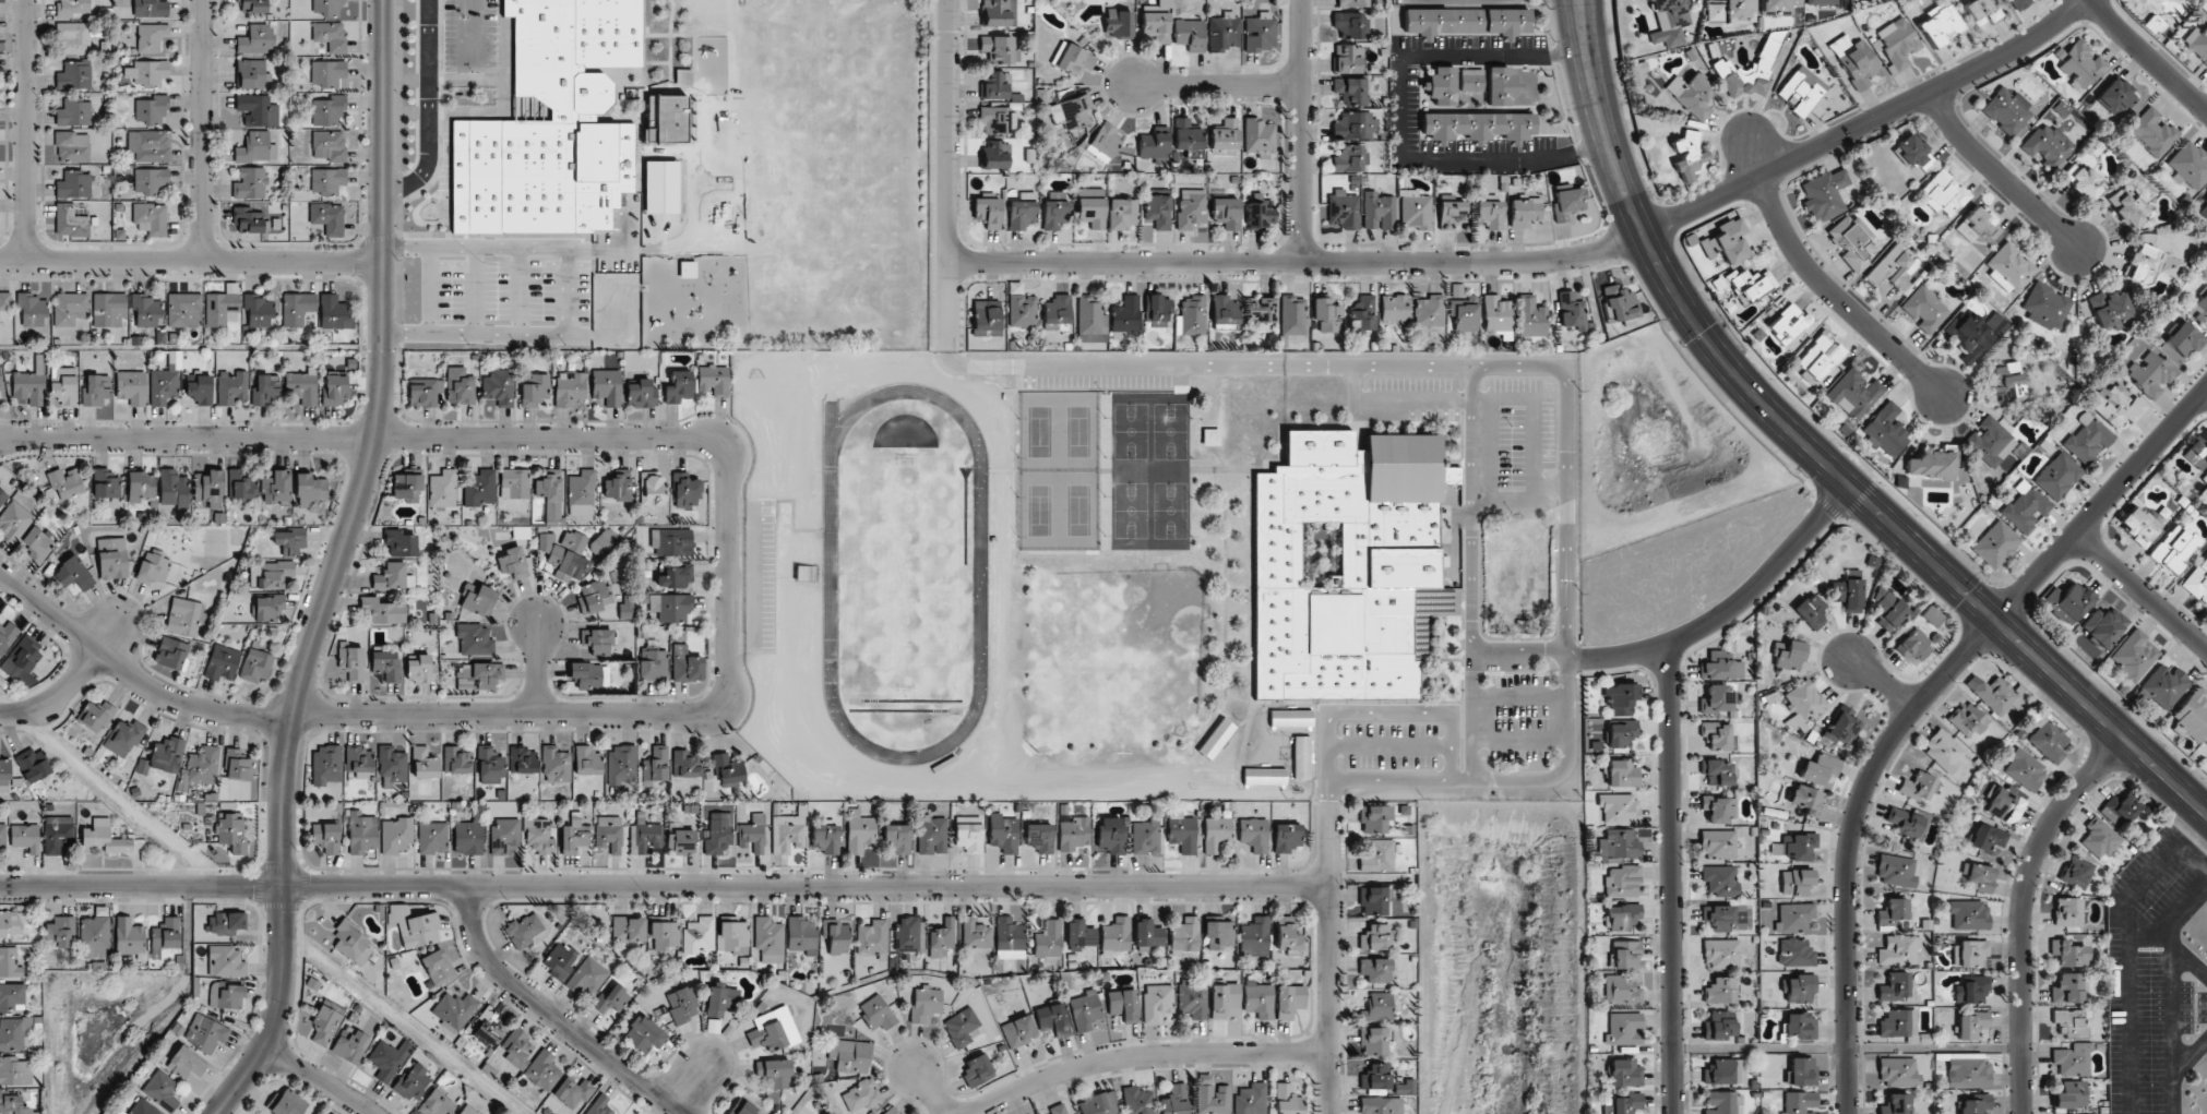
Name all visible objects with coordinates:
building: (2176, 0)
building: (1822, 2)
building: (1352, 3)
building: (2019, 3)
building: (253, 5)
building: (1781, 5)
building: (73, 7)
building: (326, 7)
building: (151, 8)
building: (1740, 9)
building: (1979, 11)
building: (998, 12)
building: (1716, 12)
building: (1468, 21)
building: (1669, 22)
building: (1119, 23)
building: (1941, 23)
building: (1350, 24)
building: (1156, 26)
building: (1225, 32)
building: (1261, 32)
building: (1190, 34)
building: (331, 35)
building: (151, 36)
building: (73, 37)
building: (257, 39)
building: (2197, 43)
building: (1897, 44)
building: (999, 48)
road: (2147, 56)
building: (1072, 59)
building: (1347, 59)
building: (1856, 61)
building: (1723, 64)
building: (2080, 64)
building: (1638, 70)
building: (150, 72)
building: (327, 72)
building: (74, 74)
building: (1471, 80)
building: (994, 84)
road: (1219, 86)
building: (1442, 86)
building: (1501, 86)
building: (1352, 91)
building: (1801, 91)
building: (1691, 95)
building: (2115, 96)
road: (428, 108)
building: (152, 109)
building: (258, 109)
building: (329, 109)
building: (2006, 110)
building: (74, 111)
building: (1072, 111)
building: (585, 118)
building: (998, 120)
road: (1401, 120)
building: (1355, 124)
building: (552, 125)
building: (1478, 125)
road: (27, 129)
road: (203, 131)
road: (1302, 131)
building: (2152, 131)
building: (1225, 134)
building: (1188, 137)
building: (1260, 137)
building: (1106, 142)
building: (148, 144)
building: (330, 144)
building: (2048, 145)
building: (73, 146)
building: (257, 147)
building: (1154, 147)
building: (1912, 153)
building: (995, 154)
building: (1689, 155)
building: (1349, 158)
building: (2190, 165)
road: (949, 175)
road: (2001, 177)
building: (151, 180)
building: (327, 180)
building: (2083, 181)
building: (250, 183)
building: (74, 184)
building: (660, 187)
building: (1944, 193)
building: (1825, 194)
building: (2205, 201)
building: (1566, 203)
building: (1091, 207)
building: (2130, 207)
building: (1192, 208)
building: (1343, 209)
building: (1415, 209)
building: (1023, 211)
building: (1055, 211)
building: (1158, 211)
building: (1379, 211)
building: (988, 212)
building: (1226, 212)
building: (1525, 212)
building: (1122, 214)
building: (1261, 214)
building: (1452, 214)
building: (1489, 214)
building: (329, 217)
building: (151, 218)
building: (70, 220)
building: (250, 220)
building: (1978, 225)
building: (1727, 241)
building: (1852, 242)
road: (191, 261)
road: (1549, 261)
building: (2150, 265)
building: (1894, 267)
building: (2009, 267)
building: (1751, 284)
road: (1838, 297)
building: (1620, 303)
building: (2203, 303)
building: (2047, 307)
building: (4, 308)
building: (222, 308)
building: (297, 308)
building: (1395, 308)
building: (109, 309)
building: (184, 309)
building: (1924, 309)
building: (33, 310)
building: (71, 310)
building: (1022, 310)
building: (1058, 310)
building: (1157, 310)
building: (1225, 310)
building: (1261, 310)
building: (2111, 310)
building: (146, 311)
building: (258, 311)
building: (333, 311)
building: (1430, 311)
building: (1572, 311)
building: (1465, 314)
building: (1193, 315)
building: (1292, 315)
building: (1326, 315)
building: (1362, 315)
building: (1496, 315)
building: (1125, 316)
building: (987, 318)
building: (1531, 318)
building: (1091, 321)
building: (1787, 324)
building: (1973, 333)
building: (333, 334)
building: (2185, 340)
building: (1821, 357)
road: (1252, 367)
building: (2151, 374)
building: (0, 376)
building: (714, 380)
building: (2007, 381)
building: (31, 382)
building: (63, 384)
road: (1357, 384)
building: (460, 385)
building: (131, 386)
building: (163, 386)
building: (301, 386)
building: (335, 386)
building: (607, 386)
building: (200, 387)
building: (231, 387)
building: (499, 387)
building: (678, 387)
building: (569, 388)
building: (96, 390)
building: (266, 390)
building: (534, 390)
building: (423, 392)
building: (641, 394)
building: (1854, 394)
road: (1445, 400)
building: (2115, 406)
building: (1886, 430)
building: (2087, 439)
building: (1990, 442)
road: (1535, 448)
building: (2197, 452)
road: (1817, 456)
building: (1933, 464)
building: (2057, 476)
building: (65, 481)
building: (514, 483)
building: (106, 484)
building: (240, 484)
building: (619, 486)
building: (141, 487)
building: (407, 487)
building: (172, 488)
building: (208, 488)
building: (276, 488)
building: (479, 488)
building: (310, 489)
building: (443, 489)
building: (652, 489)
building: (687, 490)
building: (582, 493)
building: (551, 495)
road: (1520, 498)
building: (2026, 507)
building: (14, 519)
building: (2138, 526)
building: (290, 540)
building: (601, 541)
building: (672, 542)
building: (38, 543)
building: (402, 543)
building: (1995, 544)
building: (2174, 548)
building: (564, 553)
building: (112, 558)
building: (513, 563)
building: (1347, 564)
road: (336, 566)
building: (154, 567)
building: (275, 573)
road: (1474, 574)
building: (73, 575)
building: (391, 576)
parking lot: (760, 576)
building: (675, 577)
road: (753, 577)
building: (2197, 582)
building: (1848, 591)
road: (2142, 591)
road: (728, 595)
building: (594, 597)
building: (478, 598)
building: (2067, 601)
building: (269, 607)
building: (1886, 608)
road: (1730, 609)
building: (382, 610)
building: (1811, 611)
building: (183, 616)
building: (1932, 616)
building: (2103, 625)
road: (1568, 628)
building: (7, 635)
building: (475, 639)
building: (596, 640)
building: (1913, 647)
road: (1522, 650)
building: (171, 652)
building: (25, 654)
building: (1789, 655)
building: (2134, 655)
building: (222, 662)
building: (351, 662)
building: (652, 663)
building: (257, 664)
building: (386, 664)
building: (685, 664)
building: (1721, 667)
road: (539, 668)
building: (421, 670)
building: (487, 673)
building: (586, 674)
road: (1886, 681)
building: (2164, 687)
building: (1994, 693)
road: (60, 696)
road: (1523, 697)
building: (1620, 698)
building: (1718, 700)
building: (1802, 704)
road: (1917, 706)
road: (1391, 714)
building: (96, 715)
building: (2192, 716)
building: (1290, 718)
building: (1968, 720)
building: (1841, 727)
building: (1622, 735)
building: (1718, 735)
building: (123, 738)
road: (1523, 738)
building: (1216, 739)
building: (2048, 741)
road: (1391, 746)
building: (1944, 751)
building: (164, 756)
building: (1301, 757)
building: (360, 760)
building: (456, 760)
building: (523, 760)
building: (586, 760)
building: (423, 763)
building: (34, 764)
building: (325, 764)
building: (392, 764)
building: (687, 764)
building: (238, 765)
building: (489, 765)
building: (556, 765)
building: (621, 765)
building: (655, 766)
building: (728, 768)
building: (1820, 768)
building: (2025, 770)
building: (4, 771)
building: (1717, 771)
building: (202, 774)
building: (1622, 774)
building: (1214, 776)
building: (1264, 776)
road: (1391, 780)
building: (1919, 787)
road: (1331, 791)
building: (1808, 801)
building: (2004, 805)
building: (1619, 808)
building: (1720, 808)
building: (2121, 810)
building: (1374, 818)
building: (1908, 823)
building: (231, 831)
building: (789, 831)
building: (1182, 831)
building: (57, 832)
building: (361, 832)
building: (1003, 832)
building: (1216, 832)
building: (609, 834)
building: (718, 834)
building: (859, 834)
building: (968, 834)
building: (1074, 834)
building: (1254, 834)
building: (3, 835)
building: (395, 835)
building: (504, 835)
building: (752, 835)
building: (932, 835)
building: (326, 836)
building: (539, 836)
building: (574, 836)
building: (25, 837)
building: (105, 837)
building: (431, 837)
building: (644, 837)
building: (1040, 837)
building: (1145, 837)
building: (1286, 837)
building: (1988, 837)
building: (468, 838)
building: (825, 838)
building: (897, 838)
building: (1111, 838)
building: (2099, 839)
building: (681, 841)
building: (1620, 843)
building: (1719, 845)
building: (1799, 846)
building: (1379, 857)
building: (1896, 871)
building: (2077, 872)
building: (1979, 876)
road: (1670, 879)
building: (1720, 879)
building: (1622, 882)
building: (1796, 882)
road: (664, 885)
building: (1374, 900)
road: (2024, 910)
building: (1893, 911)
building: (2067, 911)
building: (1968, 914)
building: (1621, 915)
building: (1718, 917)
building: (1793, 918)
building: (10, 923)
building: (226, 923)
building: (414, 926)
building: (628, 929)
building: (525, 930)
building: (60, 931)
building: (166, 933)
building: (663, 933)
building: (909, 934)
building: (976, 934)
building: (1079, 934)
building: (1148, 934)
building: (1219, 934)
building: (699, 935)
building: (801, 935)
building: (1185, 935)
building: (95, 936)
building: (129, 936)
building: (836, 936)
building: (732, 937)
building: (1255, 937)
building: (1375, 937)
building: (941, 938)
building: (1010, 938)
building: (770, 939)
building: (873, 939)
building: (1049, 939)
building: (353, 943)
building: (1899, 950)
building: (1796, 953)
building: (1722, 954)
building: (1969, 954)
building: (2068, 954)
building: (1625, 955)
road: (1329, 957)
building: (559, 960)
building: (226, 961)
building: (9, 962)
building: (438, 967)
building: (1375, 970)
building: (587, 978)
building: (1895, 986)
building: (1798, 987)
building: (2066, 987)
building: (1621, 989)
building: (1971, 990)
building: (1720, 991)
building: (12, 996)
building: (226, 996)
building: (1192, 998)
building: (611, 999)
building: (719, 999)
building: (1224, 999)
building: (1258, 999)
building: (1289, 1001)
building: (1157, 1002)
building: (924, 1004)
building: (682, 1005)
building: (1123, 1005)
building: (1377, 1007)
building: (453, 1010)
building: (1085, 1010)
building: (876, 1013)
road: (552, 1014)
building: (1052, 1019)
building: (2071, 1023)
building: (324, 1025)
building: (1971, 1025)
building: (1719, 1026)
building: (1800, 1026)
building: (961, 1027)
building: (489, 1028)
building: (1624, 1029)
building: (774, 1030)
building: (1018, 1031)
building: (13, 1032)
building: (205, 1033)
building: (644, 1034)
building: (1374, 1041)
building: (350, 1046)
building: (516, 1047)
building: (850, 1055)
road: (1145, 1056)
building: (387, 1058)
building: (2073, 1059)
building: (186, 1063)
building: (977, 1069)
building: (14, 1070)
building: (542, 1070)
building: (1726, 1071)
building: (1801, 1071)
building: (1898, 1071)
building: (1967, 1071)
building: (1625, 1073)
building: (774, 1076)
building: (1375, 1077)
road: (320, 1080)
building: (411, 1082)
road: (691, 1083)
building: (1405, 1087)
building: (162, 1090)
road: (933, 1090)
building: (572, 1093)
building: (2071, 1094)
building: (860, 1095)
building: (1213, 1099)
building: (1251, 1099)
building: (1176, 1100)
building: (1287, 1100)
building: (1137, 1101)
building: (1721, 1102)
building: (1799, 1102)
building: (288, 1103)
building: (436, 1103)
building: (1098, 1104)
building: (1623, 1104)
building: (1896, 1104)
building: (14, 1105)
building: (599, 1105)
building: (1380, 1105)
building: (1976, 1105)
building: (141, 1107)
building: (742, 1109)
building: (1058, 1109)
building: (468, 1110)
building: (892, 1111)

